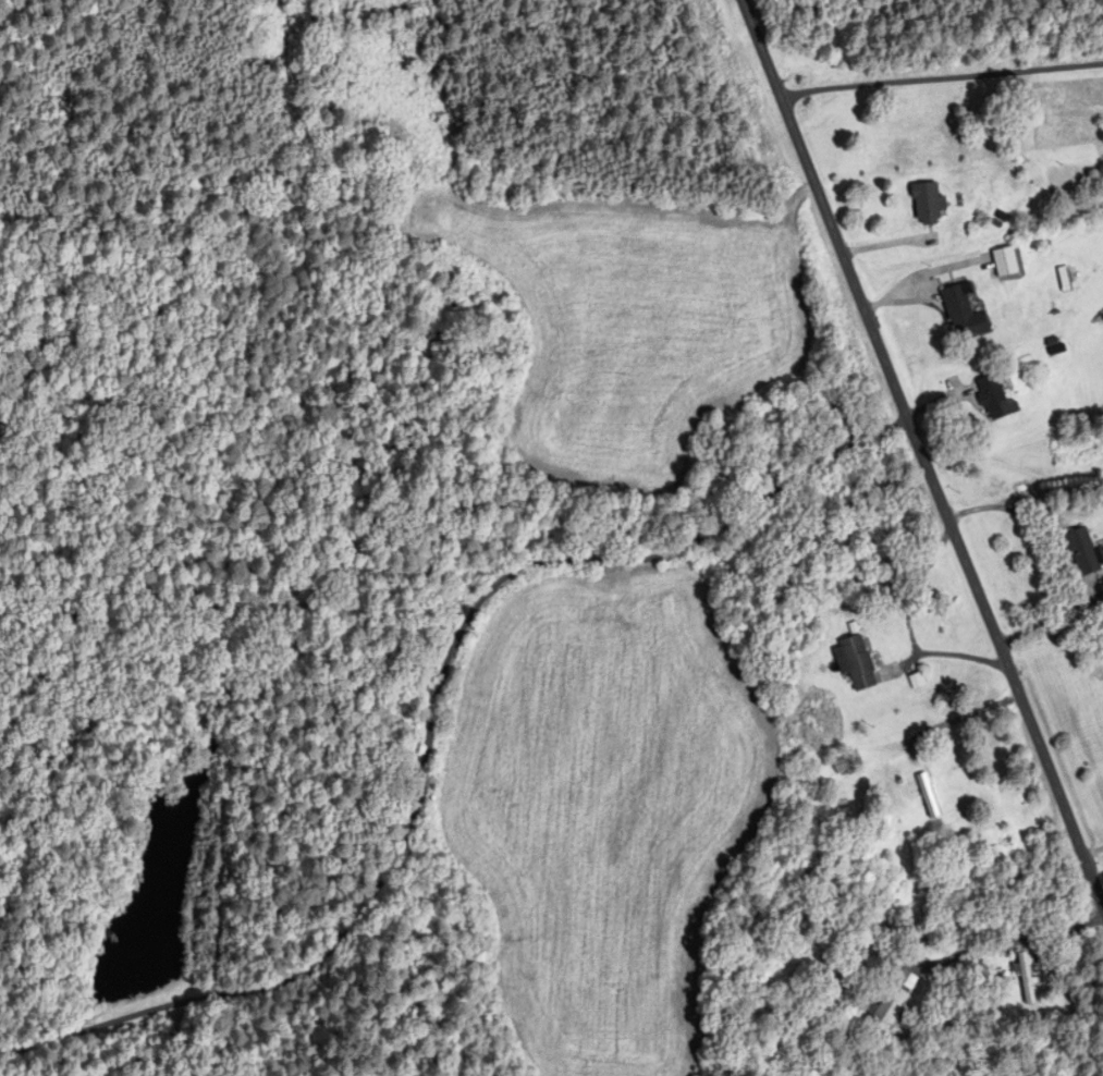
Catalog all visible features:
road: (941, 77)
building: (927, 204)
building: (1004, 262)
building: (964, 315)
building: (993, 398)
road: (921, 454)
road: (1024, 499)
building: (1081, 552)
road: (1061, 579)
road: (914, 588)
road: (946, 652)
building: (855, 664)
road: (431, 719)
road: (957, 720)
building: (845, 762)
building: (927, 797)
road: (1013, 942)
building: (1025, 978)
building: (888, 1007)

